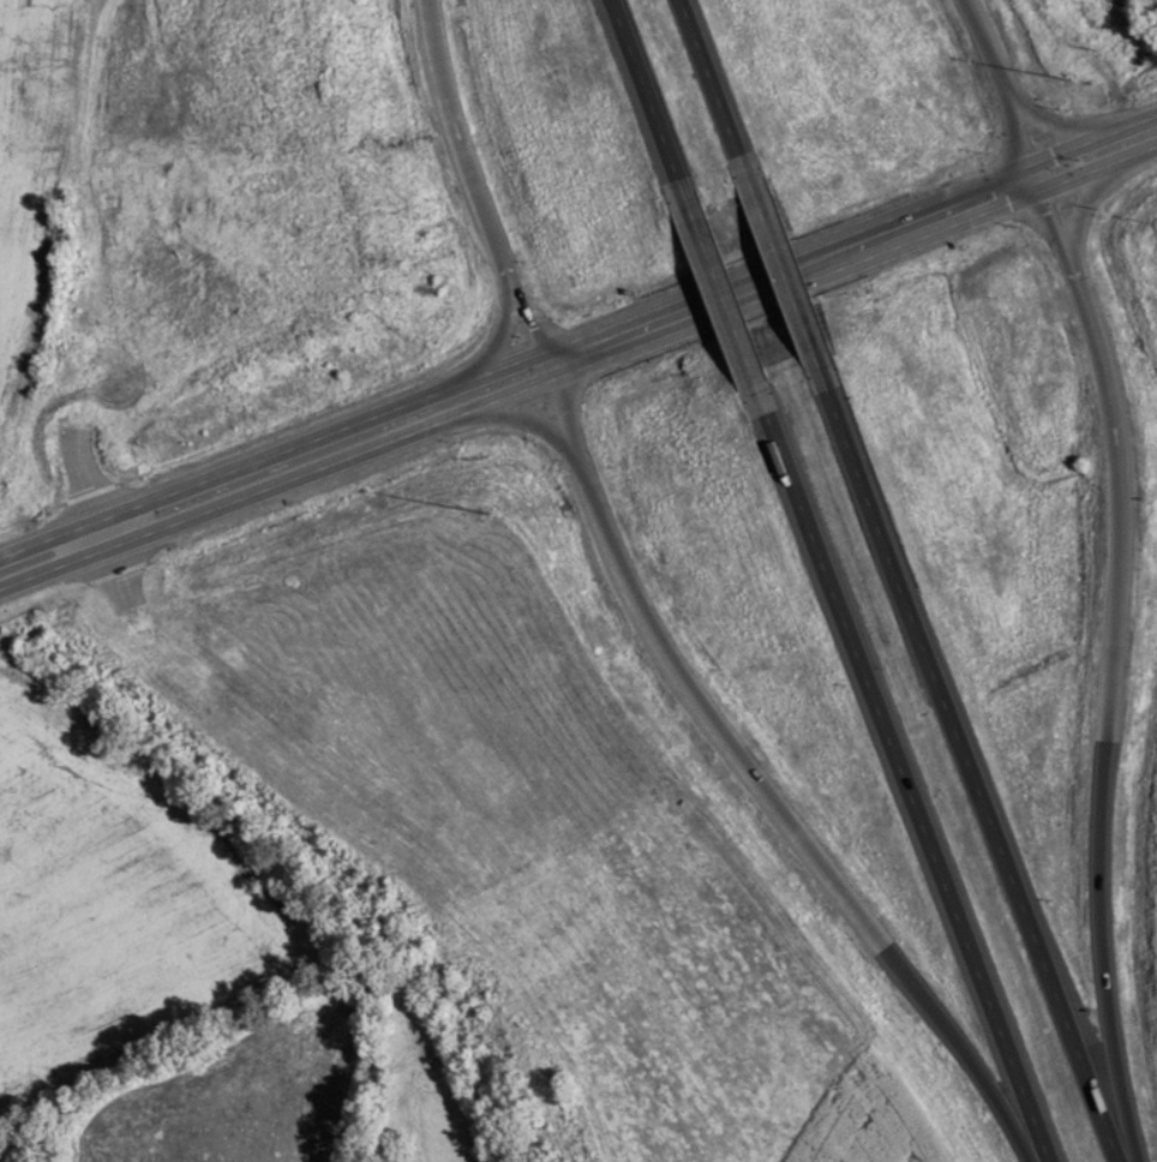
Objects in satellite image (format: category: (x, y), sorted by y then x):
road: (425, 11)
road: (715, 88)
road: (1003, 97)
road: (648, 100)
road: (1048, 125)
road: (1090, 137)
road: (461, 155)
road: (1042, 209)
road: (1077, 209)
road: (853, 260)
road: (784, 271)
road: (723, 297)
road: (498, 331)
road: (532, 331)
road: (511, 358)
road: (1110, 409)
road: (524, 412)
road: (275, 479)
road: (967, 765)
road: (750, 771)
road: (903, 778)
road: (1097, 858)

